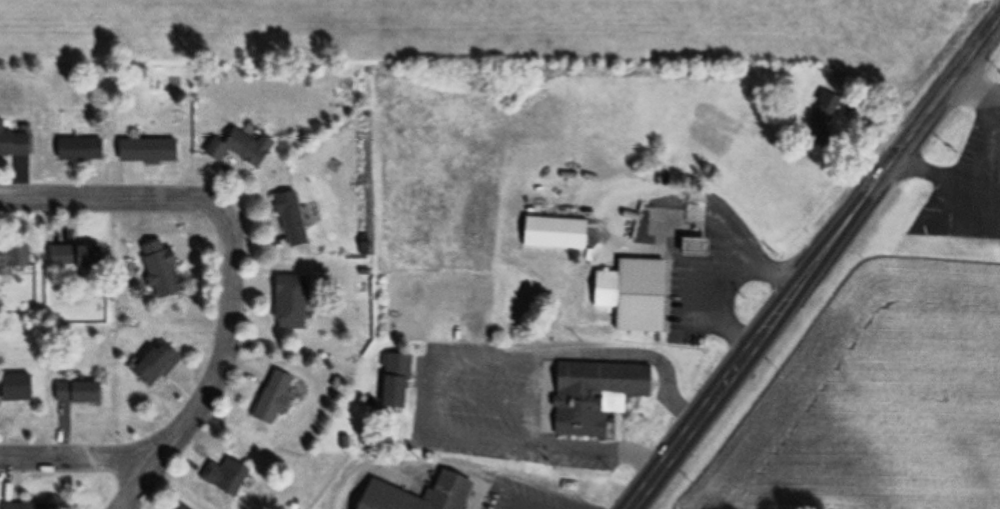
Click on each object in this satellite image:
road: (975, 49)
road: (974, 85)
building: (819, 119)
building: (16, 143)
building: (237, 149)
building: (77, 151)
building: (144, 152)
road: (104, 197)
building: (288, 221)
building: (542, 234)
building: (17, 257)
building: (71, 258)
road: (714, 267)
building: (157, 270)
building: (630, 294)
road: (793, 297)
building: (287, 305)
road: (485, 349)
road: (639, 349)
road: (222, 363)
building: (152, 367)
building: (391, 383)
road: (431, 388)
building: (22, 389)
building: (83, 393)
road: (483, 393)
road: (535, 393)
building: (591, 396)
crop: (867, 398)
building: (268, 399)
road: (549, 438)
road: (80, 458)
building: (220, 478)
building: (450, 487)
road: (550, 504)
building: (35, 506)
building: (178, 507)

